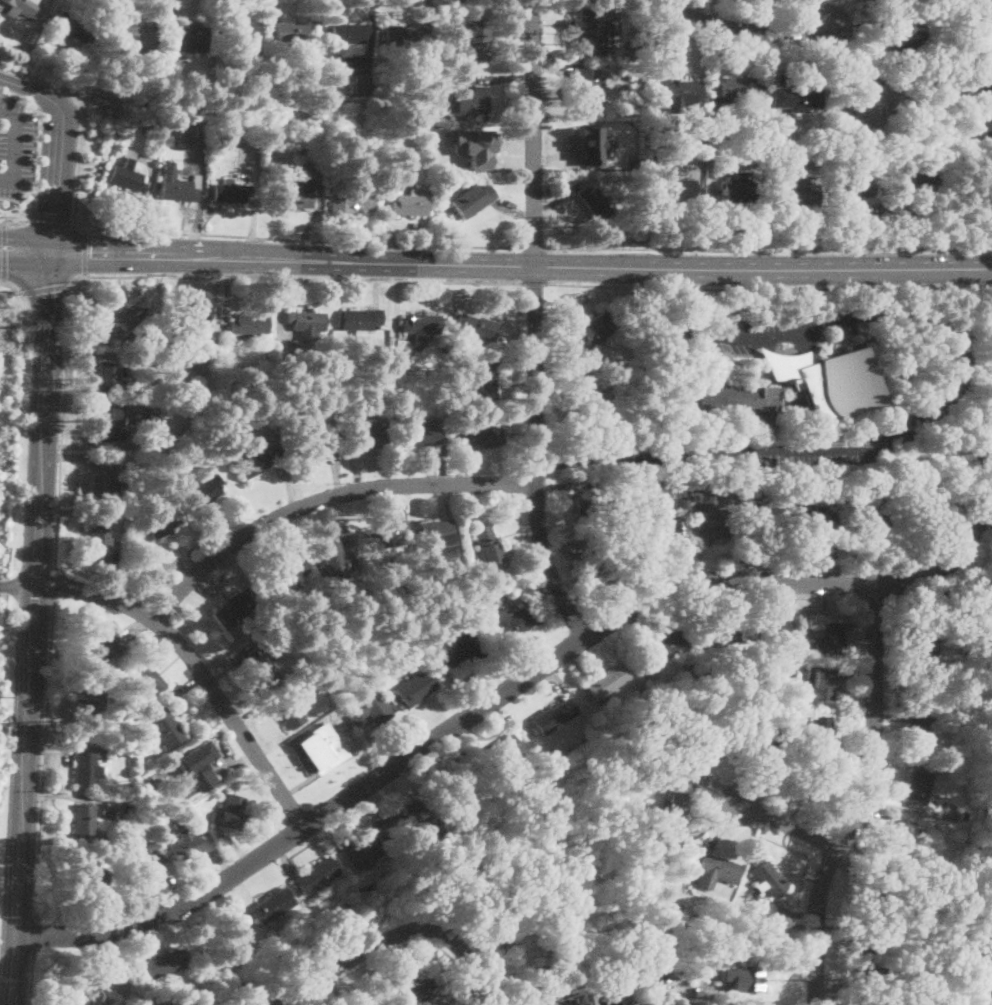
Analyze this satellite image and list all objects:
building: (25, 7)
building: (922, 12)
building: (983, 13)
building: (74, 29)
road: (742, 30)
building: (191, 34)
building: (242, 35)
building: (135, 36)
building: (294, 36)
building: (411, 37)
building: (475, 37)
building: (587, 37)
building: (348, 38)
building: (900, 38)
building: (632, 47)
building: (980, 70)
building: (950, 74)
building: (367, 76)
building: (935, 84)
building: (587, 87)
building: (741, 89)
building: (678, 94)
building: (960, 94)
building: (797, 98)
building: (473, 100)
building: (876, 104)
road: (8, 116)
building: (426, 116)
building: (988, 117)
road: (79, 126)
building: (654, 126)
building: (143, 128)
building: (201, 130)
building: (753, 132)
building: (717, 138)
building: (298, 143)
building: (482, 144)
building: (787, 144)
road: (57, 145)
building: (589, 146)
parking lot: (14, 147)
road: (16, 149)
building: (635, 162)
building: (784, 163)
building: (722, 164)
building: (127, 175)
road: (8, 177)
building: (917, 179)
building: (177, 184)
building: (672, 189)
building: (852, 189)
building: (230, 192)
building: (736, 192)
building: (794, 194)
building: (295, 195)
building: (472, 200)
building: (352, 203)
building: (594, 203)
building: (409, 205)
road: (884, 211)
traffic signals: (53, 212)
road: (818, 213)
road: (757, 215)
road: (695, 216)
road: (53, 218)
road: (20, 221)
road: (304, 240)
road: (25, 242)
road: (534, 247)
road: (767, 250)
road: (4, 251)
traffic signals: (91, 252)
road: (84, 253)
road: (25, 255)
road: (358, 261)
road: (688, 270)
road: (850, 270)
road: (304, 277)
road: (534, 283)
road: (12, 284)
road: (605, 285)
road: (672, 287)
road: (847, 287)
road: (675, 288)
road: (684, 288)
road: (695, 288)
road: (696, 288)
road: (44, 289)
traffic signals: (49, 295)
road: (825, 299)
building: (362, 320)
road: (684, 322)
building: (124, 323)
building: (188, 324)
building: (249, 324)
building: (307, 324)
building: (421, 324)
road: (534, 324)
power tower: (16, 326)
building: (477, 328)
building: (595, 330)
road: (952, 336)
road: (790, 349)
building: (145, 363)
building: (784, 365)
building: (109, 378)
building: (488, 380)
building: (835, 386)
building: (592, 389)
building: (741, 401)
road: (44, 417)
road: (61, 418)
building: (109, 425)
building: (370, 434)
building: (420, 435)
building: (482, 436)
road: (990, 444)
building: (309, 447)
road: (639, 454)
building: (257, 460)
building: (751, 482)
building: (108, 484)
building: (205, 491)
road: (324, 499)
building: (591, 502)
building: (685, 502)
building: (924, 503)
building: (764, 514)
building: (814, 515)
building: (868, 518)
building: (716, 519)
building: (162, 523)
building: (661, 525)
building: (436, 531)
building: (626, 535)
building: (380, 537)
building: (101, 540)
building: (488, 545)
building: (912, 555)
building: (601, 557)
building: (335, 559)
building: (286, 572)
road: (17, 586)
road: (55, 587)
building: (237, 608)
building: (511, 621)
building: (768, 630)
building: (719, 632)
building: (922, 640)
building: (828, 641)
building: (365, 644)
building: (670, 644)
building: (104, 649)
building: (432, 656)
building: (462, 657)
road: (198, 669)
building: (263, 670)
building: (707, 672)
building: (804, 675)
road: (525, 678)
building: (147, 680)
building: (607, 681)
building: (692, 681)
building: (793, 687)
building: (921, 687)
building: (819, 688)
building: (417, 689)
building: (92, 708)
building: (375, 709)
building: (289, 712)
building: (552, 717)
building: (790, 718)
building: (164, 727)
building: (919, 734)
building: (819, 737)
building: (758, 741)
building: (321, 748)
building: (502, 750)
road: (43, 756)
building: (693, 758)
building: (86, 766)
building: (194, 767)
building: (501, 781)
building: (455, 782)
building: (807, 785)
building: (917, 787)
road: (23, 796)
road: (862, 799)
building: (126, 808)
building: (231, 812)
building: (404, 819)
building: (673, 820)
building: (177, 821)
building: (83, 823)
road: (785, 825)
building: (438, 832)
building: (897, 840)
building: (151, 845)
building: (189, 845)
building: (361, 848)
building: (144, 868)
building: (716, 871)
building: (94, 874)
building: (316, 875)
building: (766, 878)
building: (344, 882)
building: (872, 894)
building: (273, 905)
building: (675, 907)
building: (744, 914)
building: (757, 915)
building: (307, 919)
road: (34, 931)
building: (556, 931)
building: (626, 935)
road: (389, 938)
building: (746, 944)
building: (872, 944)
road: (392, 949)
building: (166, 963)
building: (869, 975)
road: (32, 976)
building: (745, 978)
building: (987, 978)
building: (650, 980)
building: (98, 983)
building: (851, 989)
building: (417, 991)
road: (683, 991)
building: (567, 1000)
building: (364, 1002)
building: (644, 1002)
building: (877, 1002)
building: (98, 1003)
building: (380, 1004)

